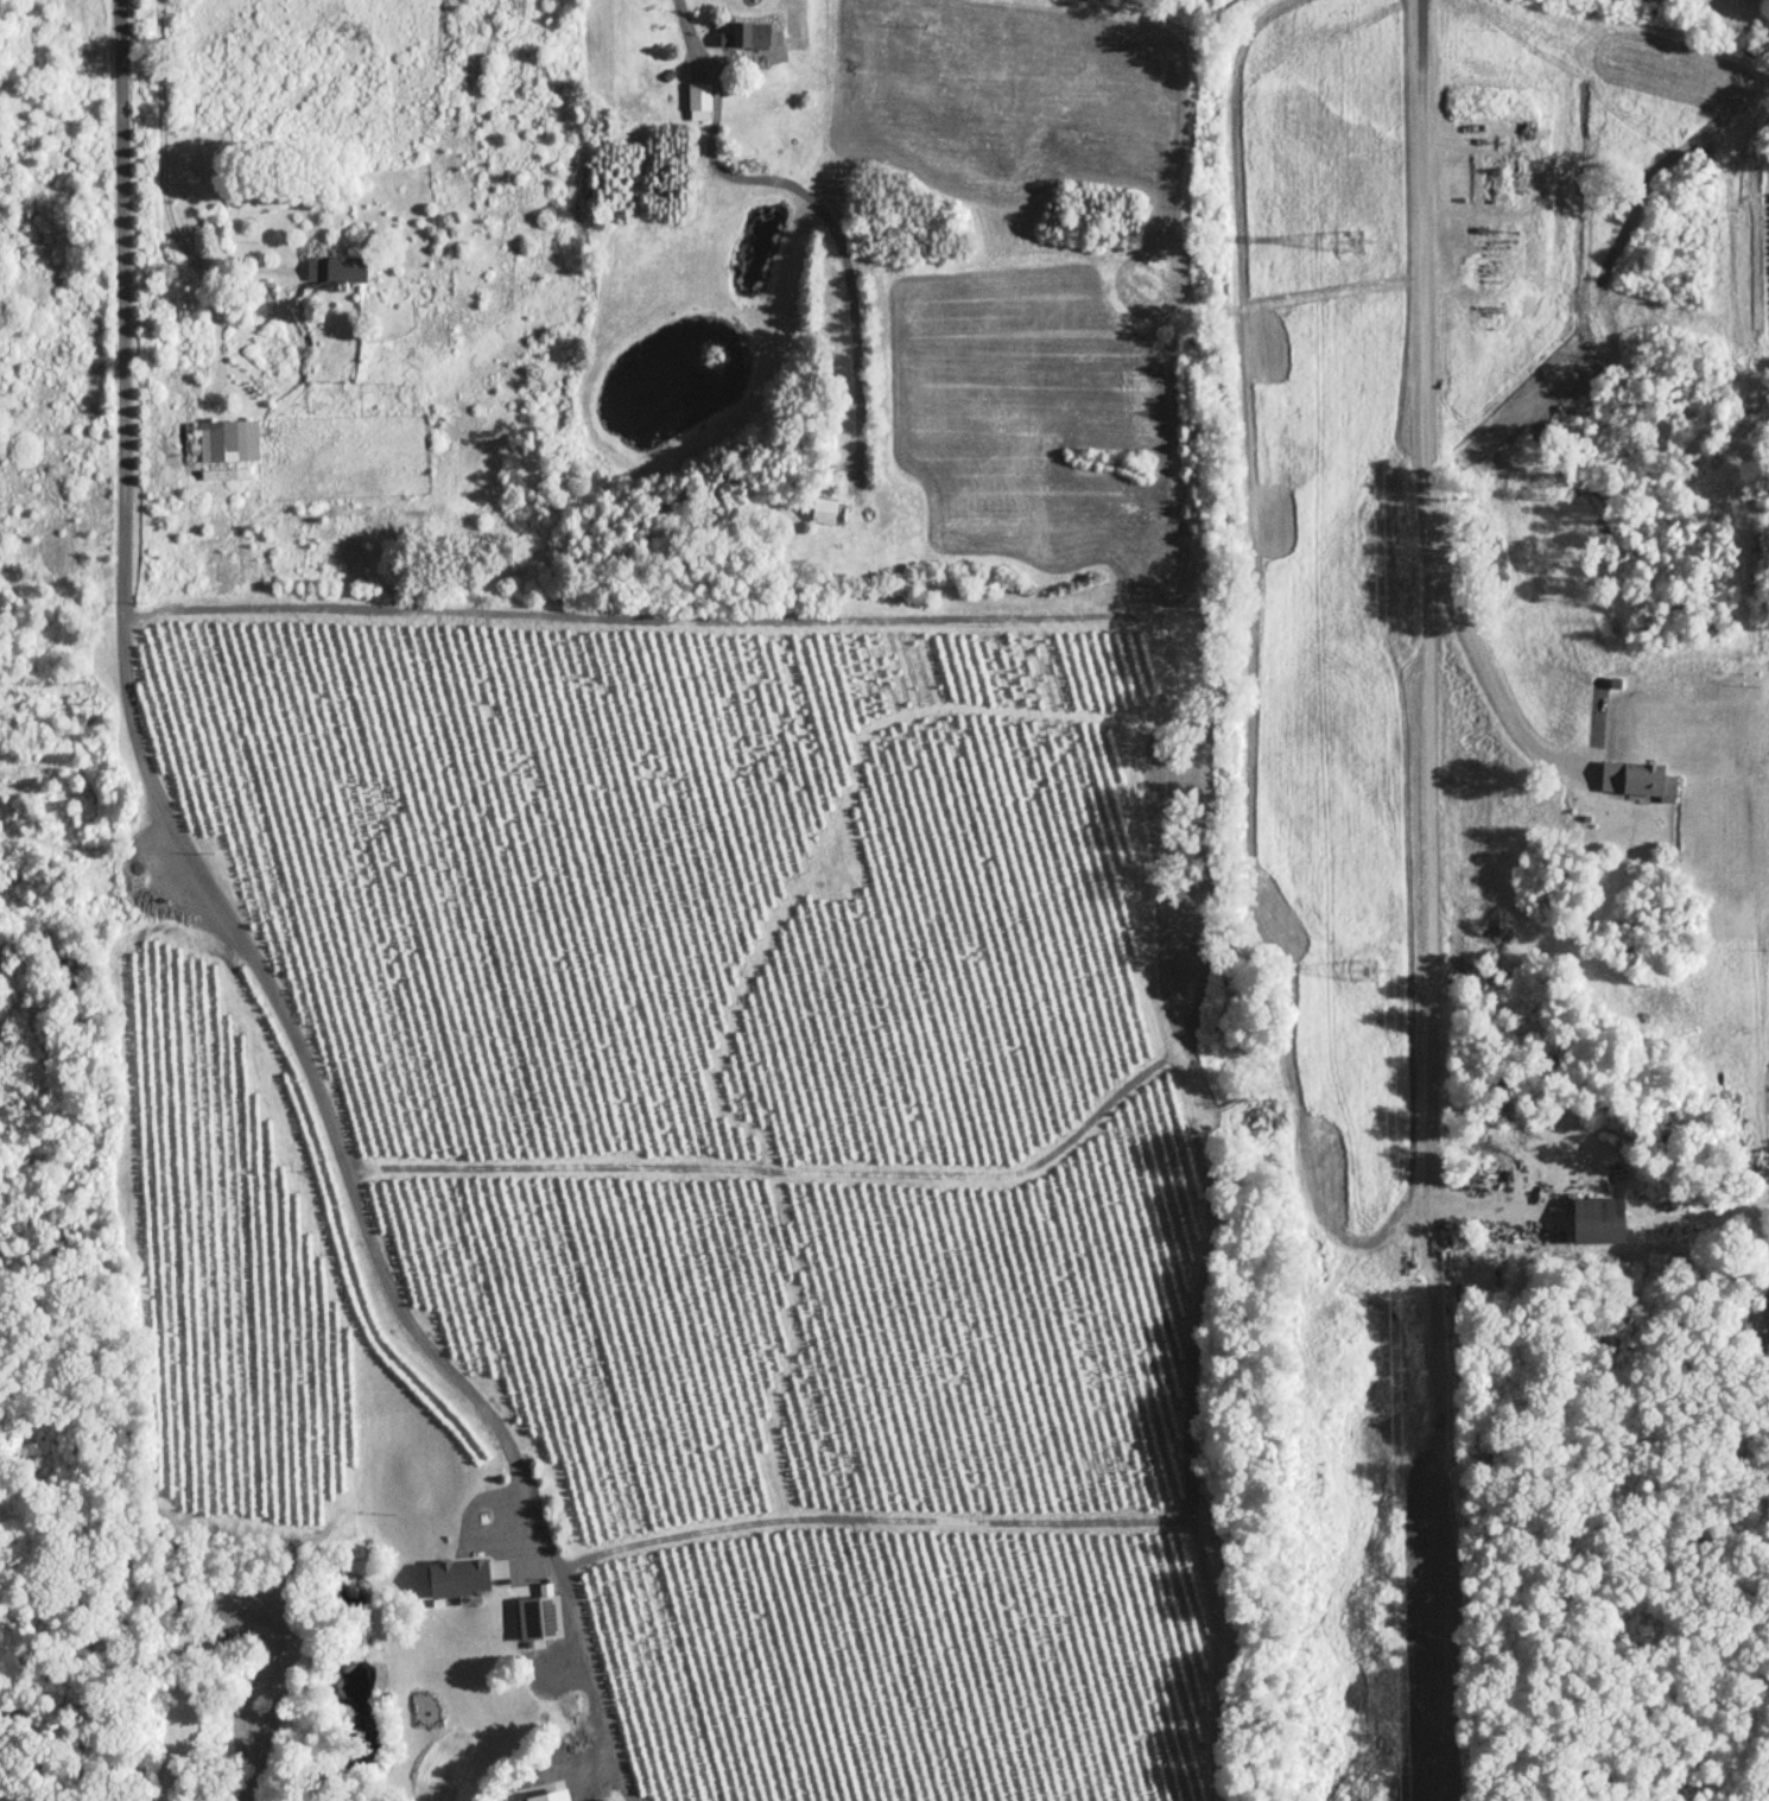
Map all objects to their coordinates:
road: (689, 21)
building: (747, 36)
building: (700, 102)
road: (134, 182)
road: (166, 183)
power tower: (1344, 227)
building: (337, 269)
building: (230, 442)
building: (226, 475)
building: (824, 513)
road: (1431, 647)
road: (1485, 666)
building: (1636, 781)
road: (199, 896)
power tower: (1351, 955)
building: (1597, 1223)
building: (458, 1579)
building: (539, 1619)
building: (551, 1797)

